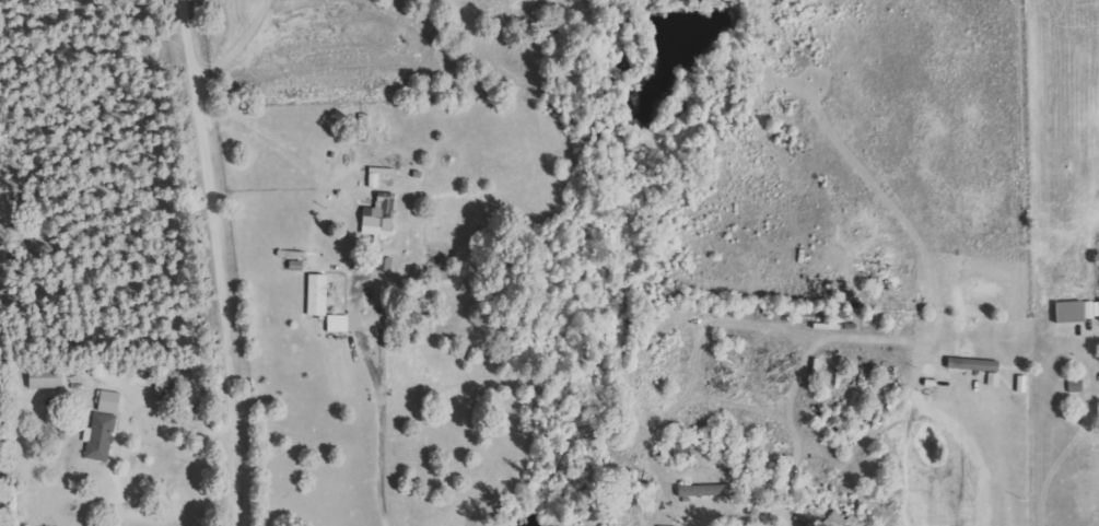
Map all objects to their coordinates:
building: (376, 180)
building: (383, 217)
building: (320, 294)
building: (1078, 311)
building: (340, 323)
building: (49, 378)
building: (105, 428)
building: (705, 490)
building: (846, 521)

